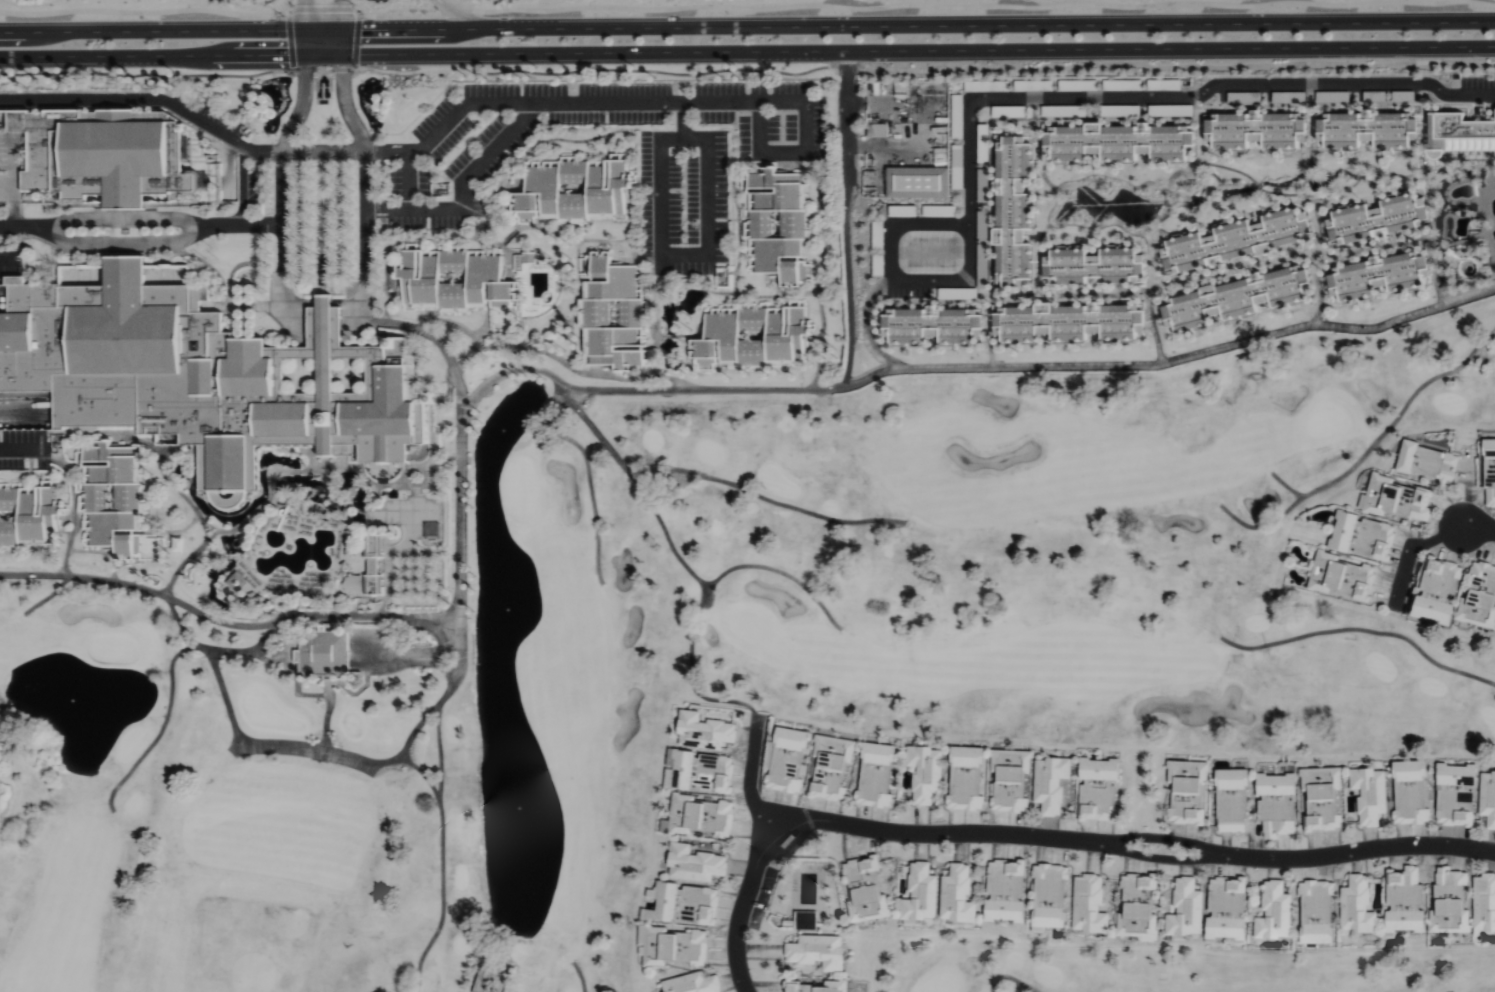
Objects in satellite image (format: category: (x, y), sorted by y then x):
road: (460, 14)
road: (305, 20)
road: (344, 20)
road: (747, 27)
road: (747, 52)
building: (1165, 85)
building: (1289, 97)
road: (1048, 98)
building: (1245, 98)
building: (959, 116)
road: (681, 119)
building: (879, 130)
building: (1256, 130)
building: (1368, 130)
building: (1460, 132)
building: (1119, 143)
road: (403, 151)
road: (781, 152)
building: (103, 154)
building: (959, 167)
road: (406, 180)
building: (919, 182)
road: (243, 185)
building: (575, 188)
road: (462, 191)
building: (984, 197)
building: (1015, 211)
building: (1378, 218)
road: (124, 219)
road: (847, 219)
road: (900, 222)
road: (239, 225)
building: (780, 225)
road: (25, 226)
building: (1236, 240)
road: (123, 241)
road: (681, 255)
road: (4, 259)
building: (1379, 276)
building: (458, 282)
building: (947, 293)
building: (1238, 299)
building: (612, 311)
building: (1071, 323)
road: (324, 326)
building: (934, 326)
road: (433, 338)
building: (201, 372)
road: (866, 376)
fountain: (500, 425)
road: (21, 449)
building: (1430, 462)
building: (1490, 470)
building: (1397, 499)
building: (29, 514)
road: (1478, 527)
building: (1364, 536)
road: (1411, 550)
building: (373, 563)
building: (1343, 576)
building: (237, 582)
building: (1440, 590)
building: (1480, 597)
road: (226, 613)
road: (224, 647)
building: (324, 653)
park: (695, 654)
fountain: (81, 691)
building: (706, 731)
road: (344, 754)
building: (789, 761)
building: (833, 766)
building: (701, 772)
building: (928, 773)
building: (878, 775)
road: (750, 778)
building: (969, 779)
building: (1013, 780)
building: (1053, 784)
building: (1101, 789)
building: (1190, 791)
building: (1412, 792)
building: (1371, 795)
building: (1457, 795)
building: (1324, 797)
building: (1488, 797)
building: (1234, 801)
building: (1278, 804)
building: (703, 816)
road: (1137, 848)
building: (697, 864)
building: (867, 889)
building: (1008, 891)
building: (923, 894)
building: (960, 895)
building: (1052, 896)
building: (1450, 900)
building: (1406, 901)
building: (1485, 902)
building: (685, 904)
building: (1091, 905)
building: (1358, 905)
building: (1140, 907)
building: (1188, 909)
building: (1229, 909)
road: (744, 911)
building: (1318, 911)
building: (1276, 913)
building: (815, 921)
building: (675, 947)
building: (820, 951)
park: (1156, 969)
building: (694, 984)
building: (816, 988)

